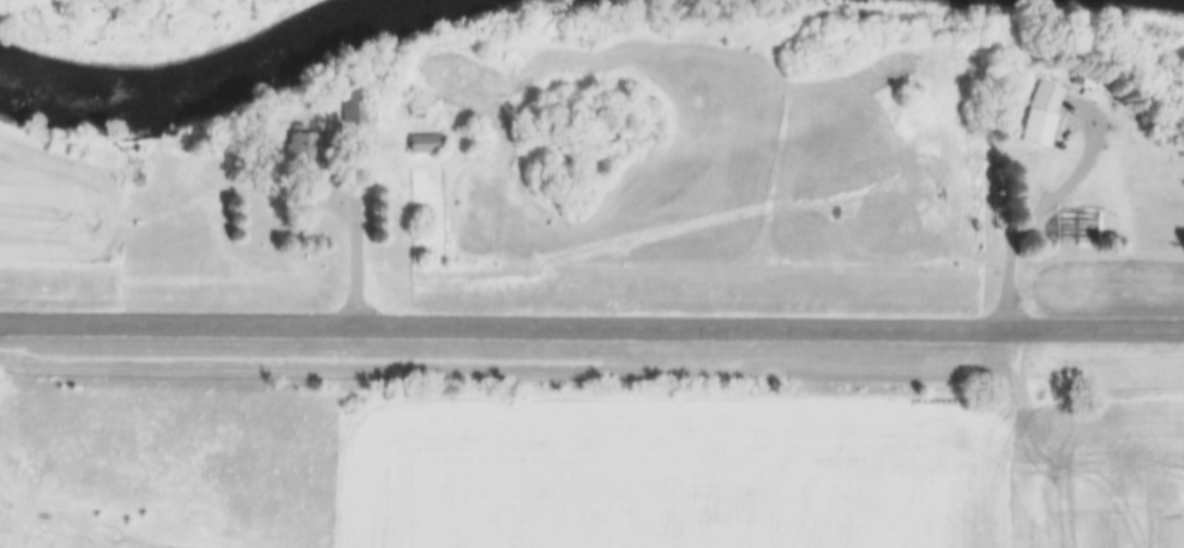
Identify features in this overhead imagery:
river: (200, 78)
building: (1030, 115)
road: (320, 118)
building: (432, 145)
building: (319, 147)
road: (1051, 204)
road: (591, 326)

